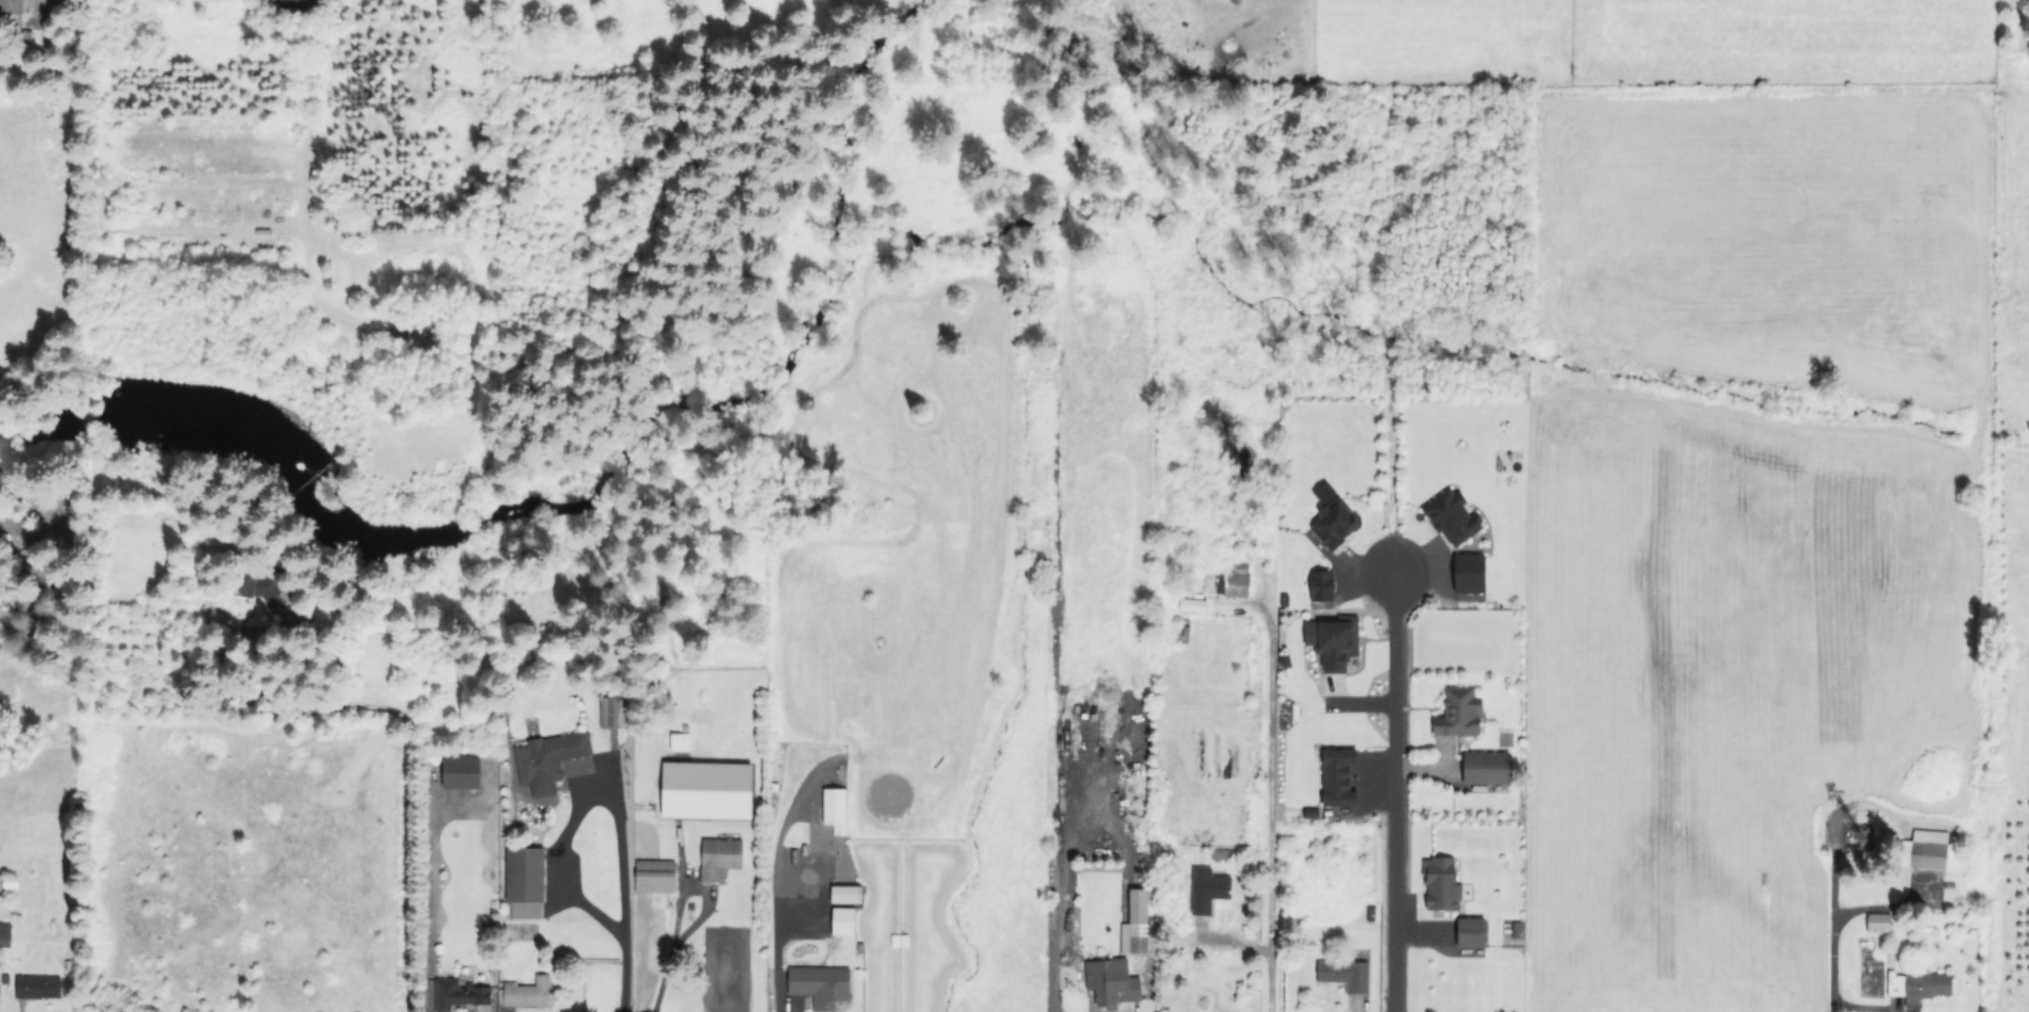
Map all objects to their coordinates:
building: (12, 7)
building: (423, 334)
building: (1455, 516)
building: (1339, 523)
building: (1473, 573)
building: (1226, 579)
building: (1320, 585)
building: (274, 595)
building: (1190, 604)
building: (1336, 640)
building: (613, 711)
building: (1462, 712)
building: (546, 759)
building: (1489, 766)
building: (462, 771)
building: (1340, 776)
road: (1399, 784)
building: (705, 789)
road: (584, 798)
road: (1269, 798)
road: (398, 809)
building: (837, 810)
building: (1931, 850)
building: (718, 856)
building: (653, 875)
building: (524, 882)
building: (1444, 883)
building: (2, 884)
building: (1205, 888)
building: (844, 893)
road: (1051, 896)
building: (844, 916)
building: (1876, 922)
building: (1473, 932)
building: (6, 936)
building: (1133, 937)
road: (1829, 948)
road: (768, 961)
building: (1343, 973)
road: (623, 974)
building: (1112, 983)
building: (1916, 984)
building: (40, 988)
building: (814, 989)
building: (525, 992)
building: (460, 995)
road: (1859, 1007)

